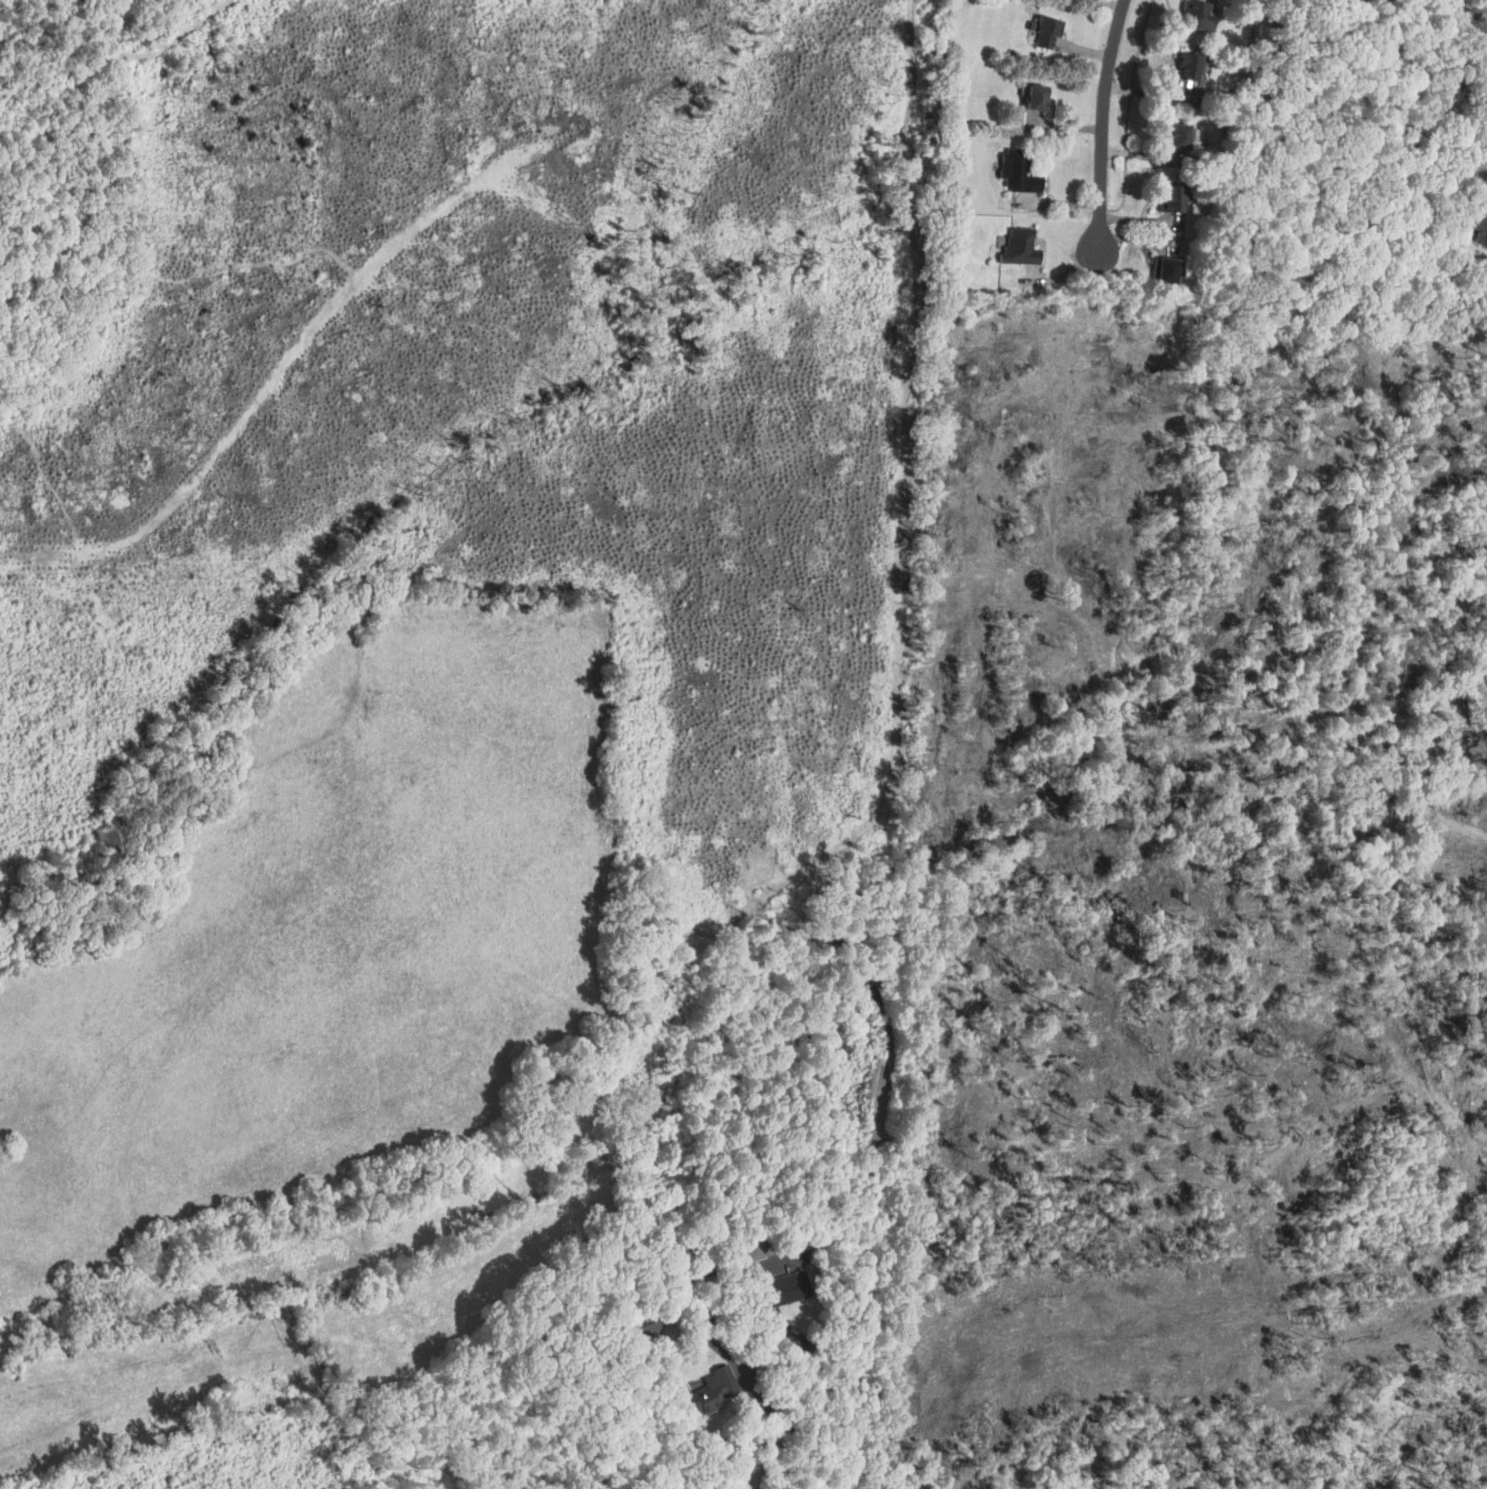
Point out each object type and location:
building: (1204, 13)
building: (1049, 30)
building: (1191, 63)
road: (1129, 112)
road: (1103, 125)
building: (1189, 136)
building: (1021, 172)
building: (1176, 199)
building: (1478, 230)
building: (1024, 247)
road: (756, 1266)
building: (792, 1285)
road: (814, 1346)
building: (714, 1389)
road: (848, 1469)

